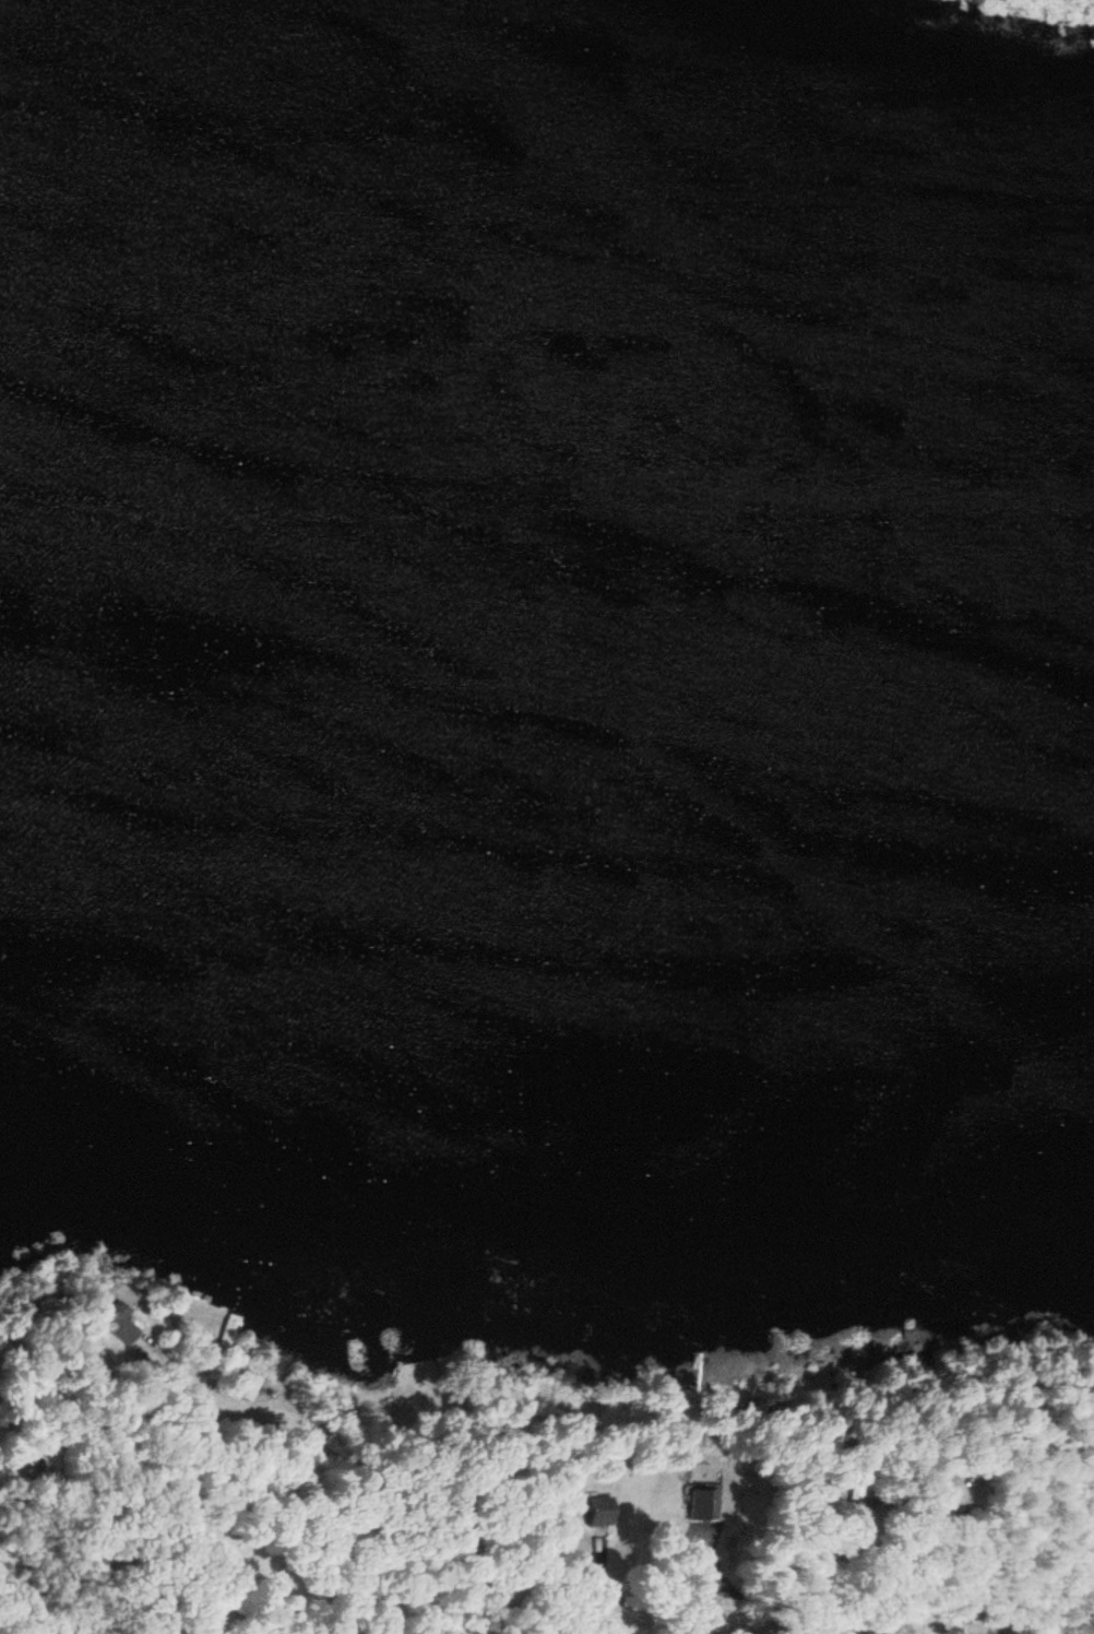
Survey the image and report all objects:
river: (531, 516)
building: (228, 1333)
building: (709, 1511)

